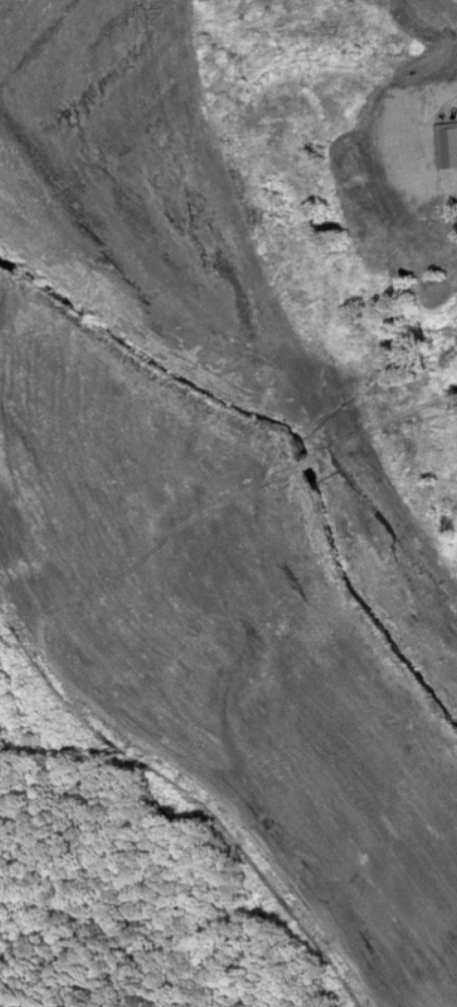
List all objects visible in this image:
building: (448, 144)

